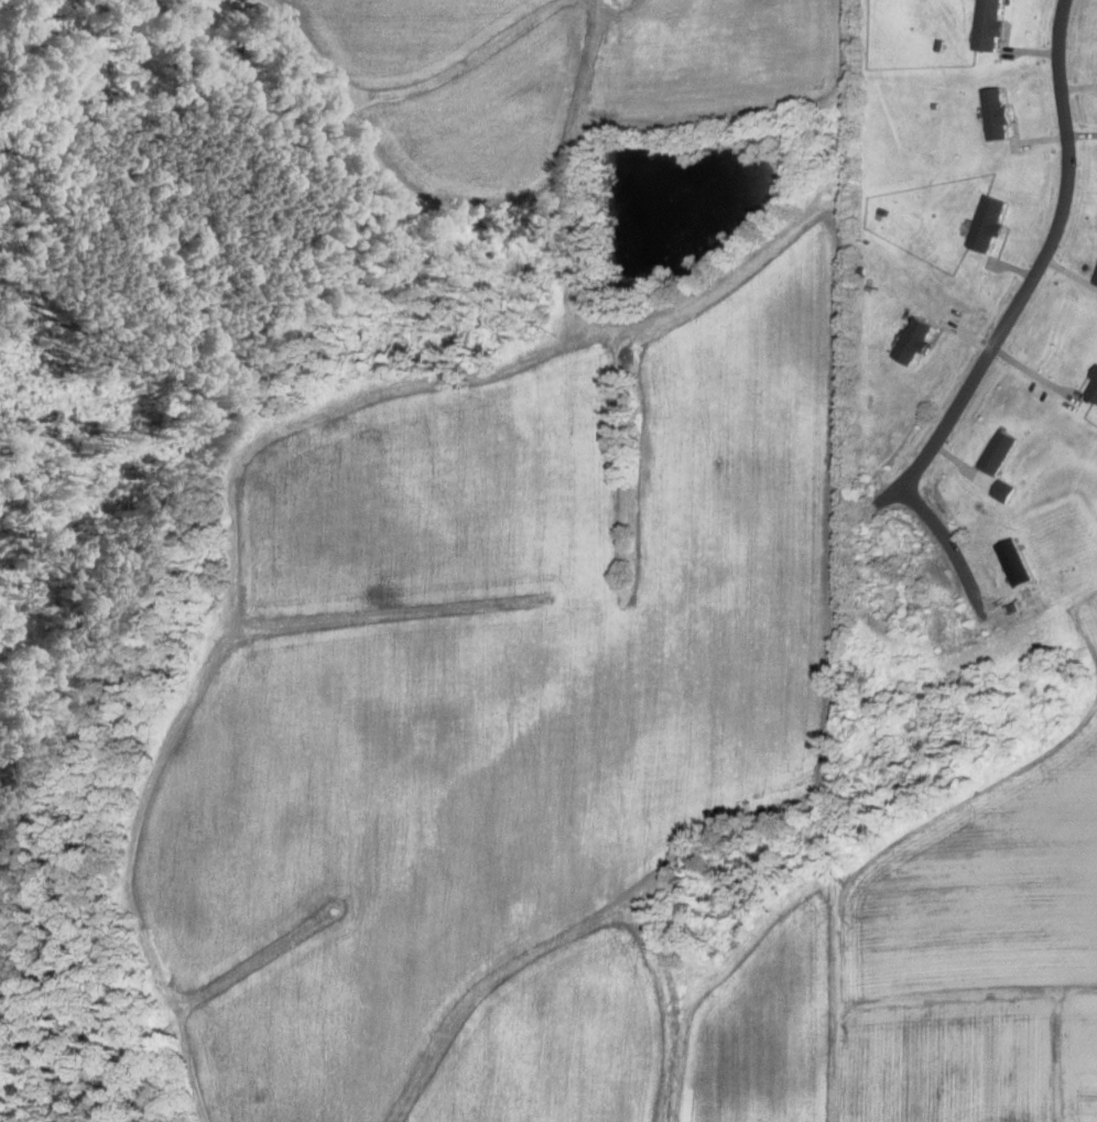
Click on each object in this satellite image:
building: (991, 24)
building: (999, 112)
building: (990, 222)
road: (1033, 273)
building: (1096, 282)
building: (913, 341)
building: (1093, 389)
building: (998, 451)
building: (1006, 490)
road: (951, 546)
building: (1018, 562)

